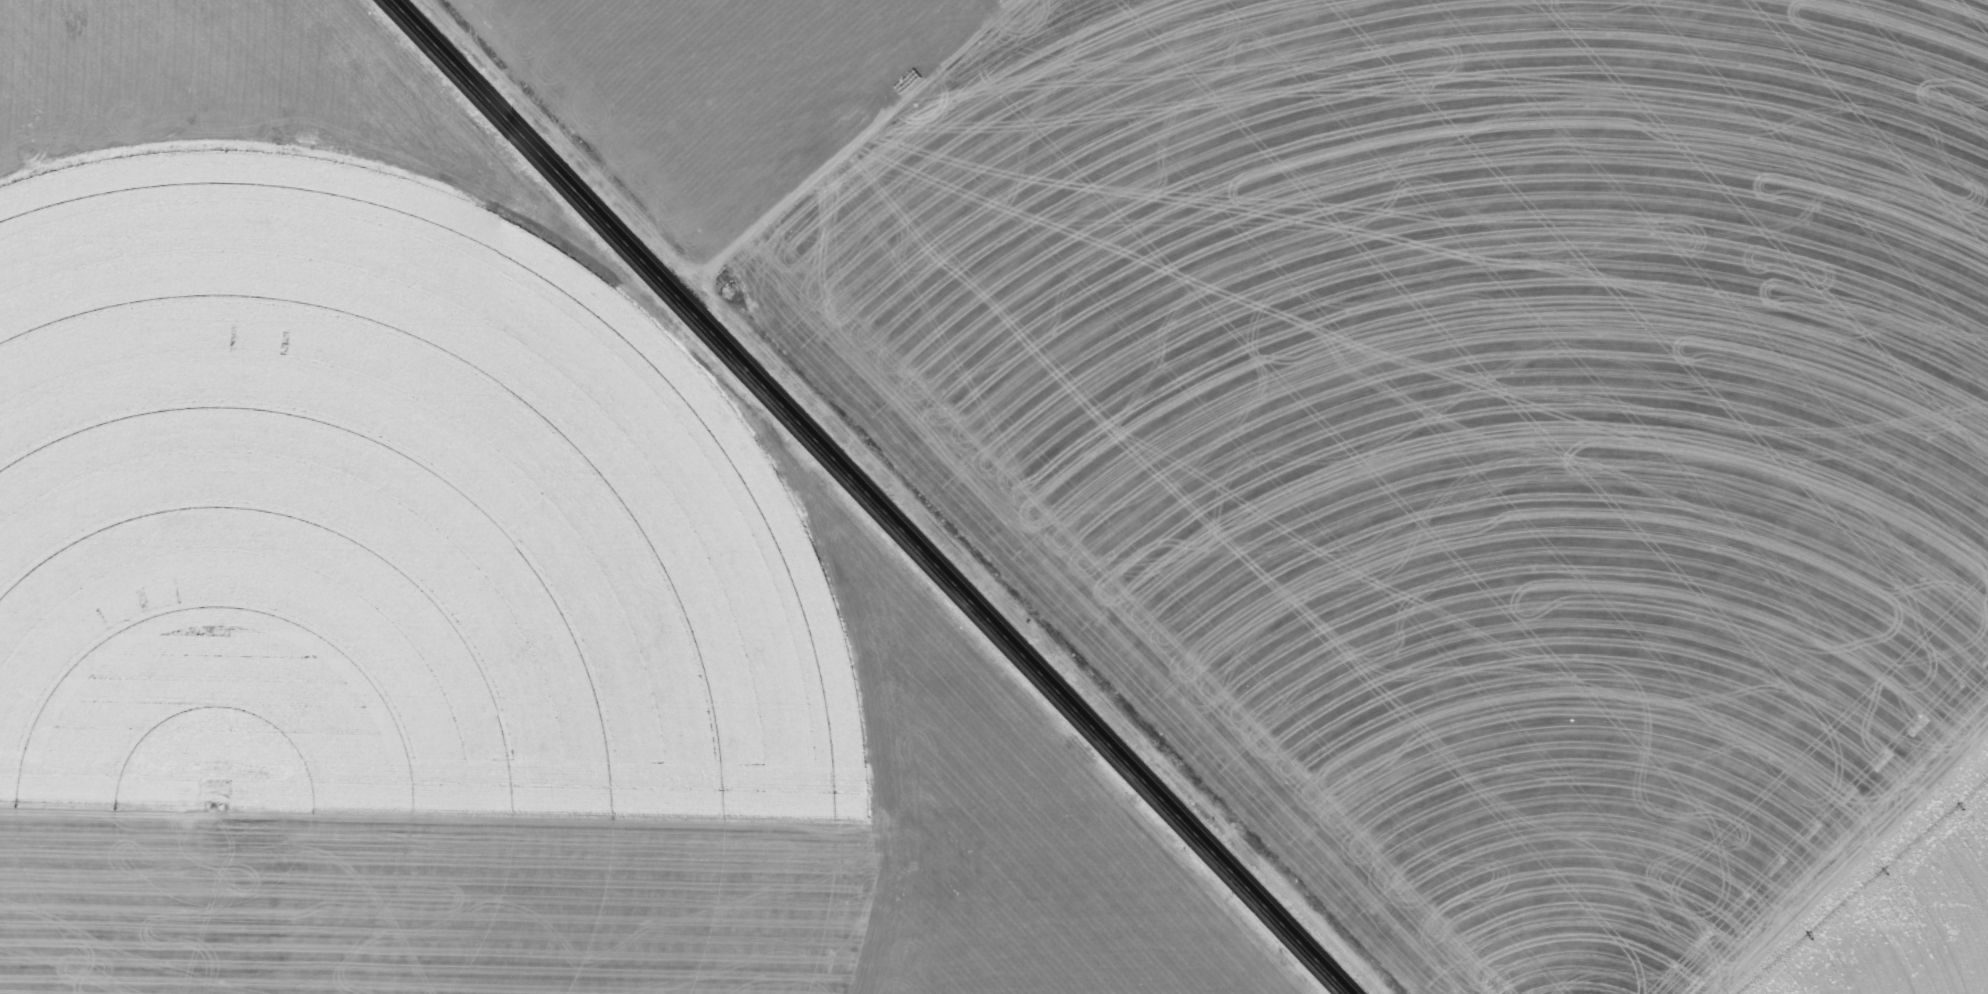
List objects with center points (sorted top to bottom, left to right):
road: (872, 496)

